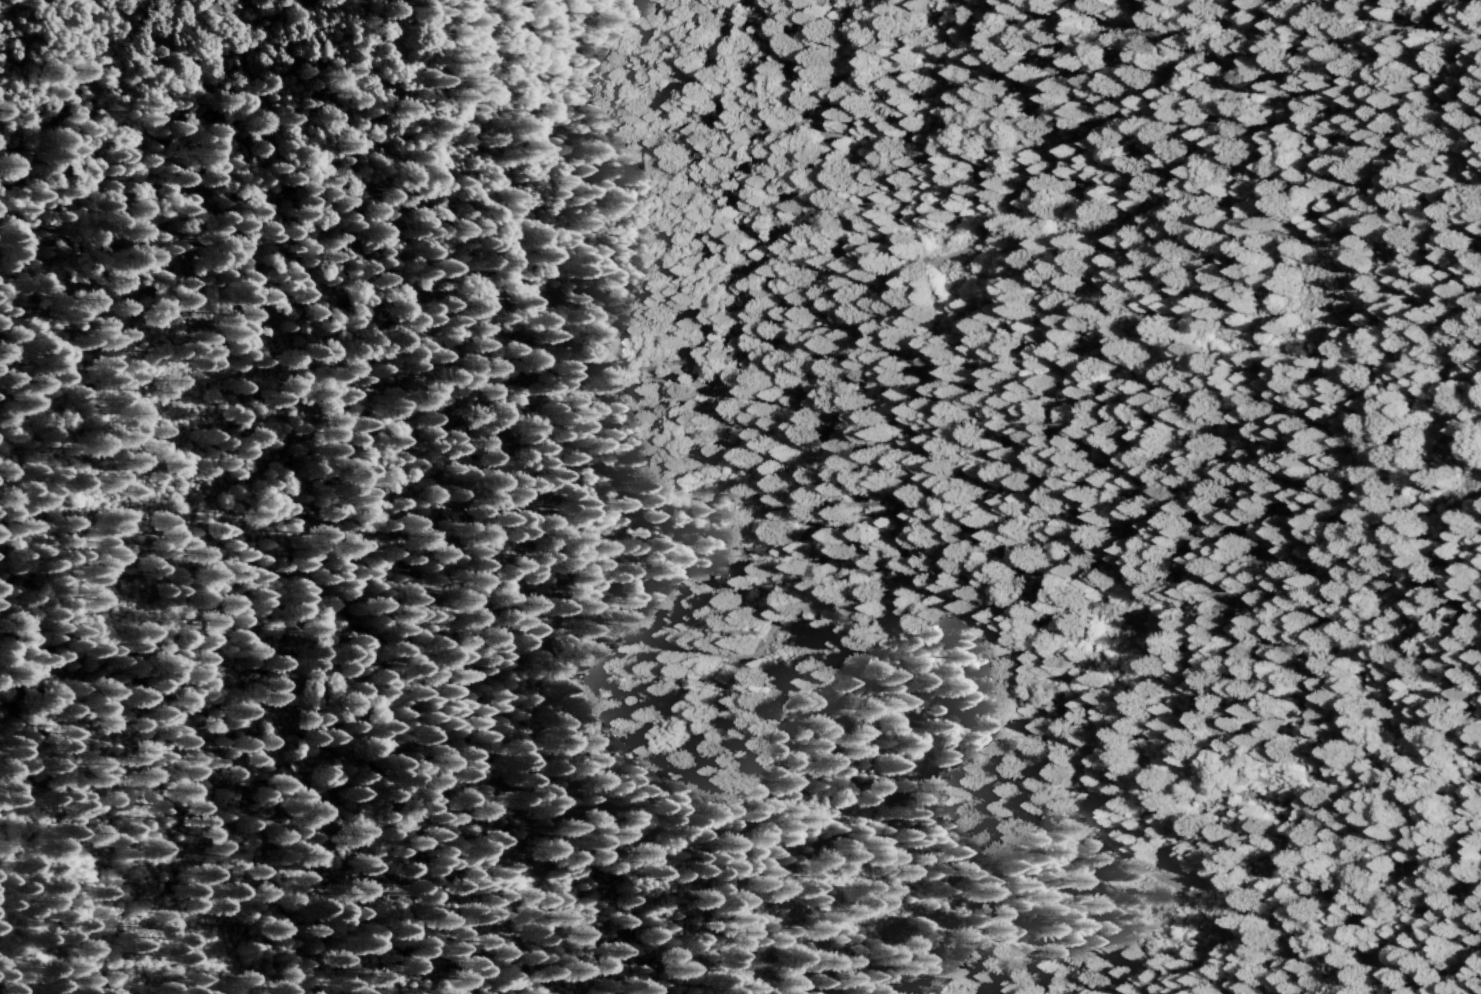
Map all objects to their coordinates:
road: (1403, 23)
road: (773, 603)

